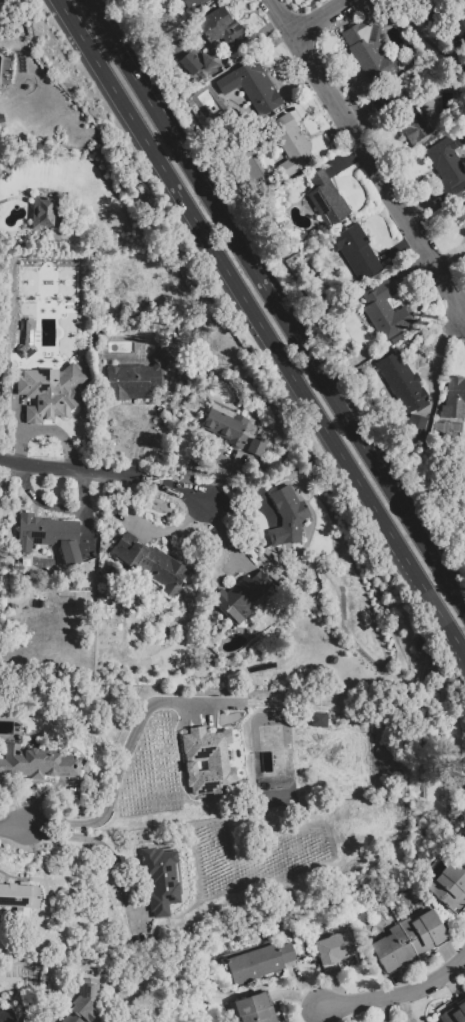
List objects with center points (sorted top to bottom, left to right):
building: (189, 4)
road: (323, 17)
building: (436, 18)
building: (221, 31)
building: (456, 32)
building: (371, 50)
building: (212, 62)
building: (253, 88)
building: (409, 116)
building: (292, 146)
road: (370, 158)
building: (449, 166)
building: (328, 201)
building: (42, 211)
building: (460, 215)
building: (357, 253)
road: (274, 304)
building: (386, 311)
road: (262, 327)
building: (29, 342)
building: (402, 379)
building: (138, 381)
building: (51, 393)
building: (455, 400)
building: (227, 427)
building: (417, 428)
building: (255, 445)
road: (104, 473)
building: (289, 519)
building: (50, 535)
building: (150, 565)
building: (243, 598)
building: (318, 719)
park: (271, 748)
building: (37, 763)
building: (210, 763)
road: (119, 772)
road: (14, 826)
road: (102, 846)
building: (161, 879)
building: (449, 885)
building: (19, 895)
building: (408, 941)
building: (335, 952)
building: (259, 962)
road: (397, 992)
building: (83, 1005)
building: (254, 1008)
building: (454, 1014)
building: (7, 1016)

